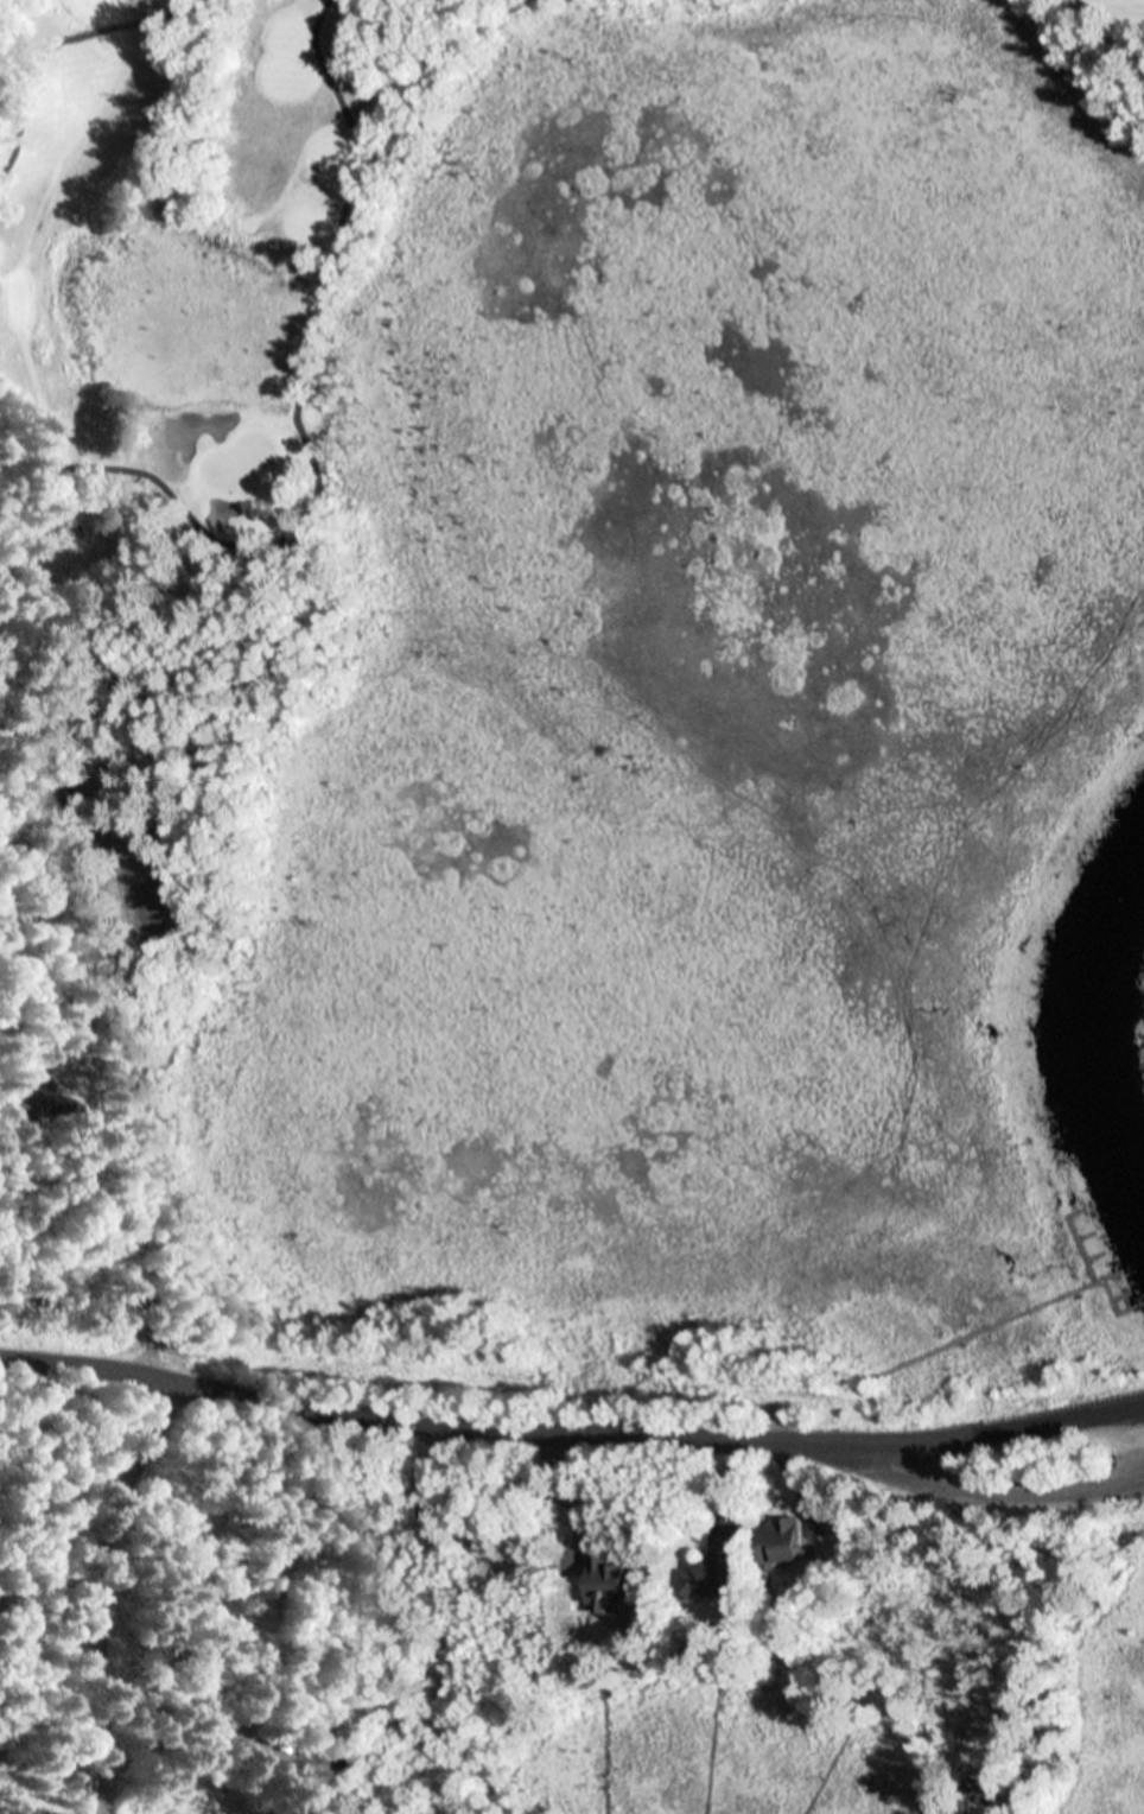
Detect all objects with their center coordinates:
park: (522, 275)
building: (68, 808)
river: (1094, 1008)
road: (129, 1067)
building: (40, 1101)
road: (570, 1426)
road: (999, 1495)
building: (788, 1537)
building: (713, 1574)
building: (615, 1585)
road: (109, 1587)
road: (1056, 1641)
building: (333, 1752)

